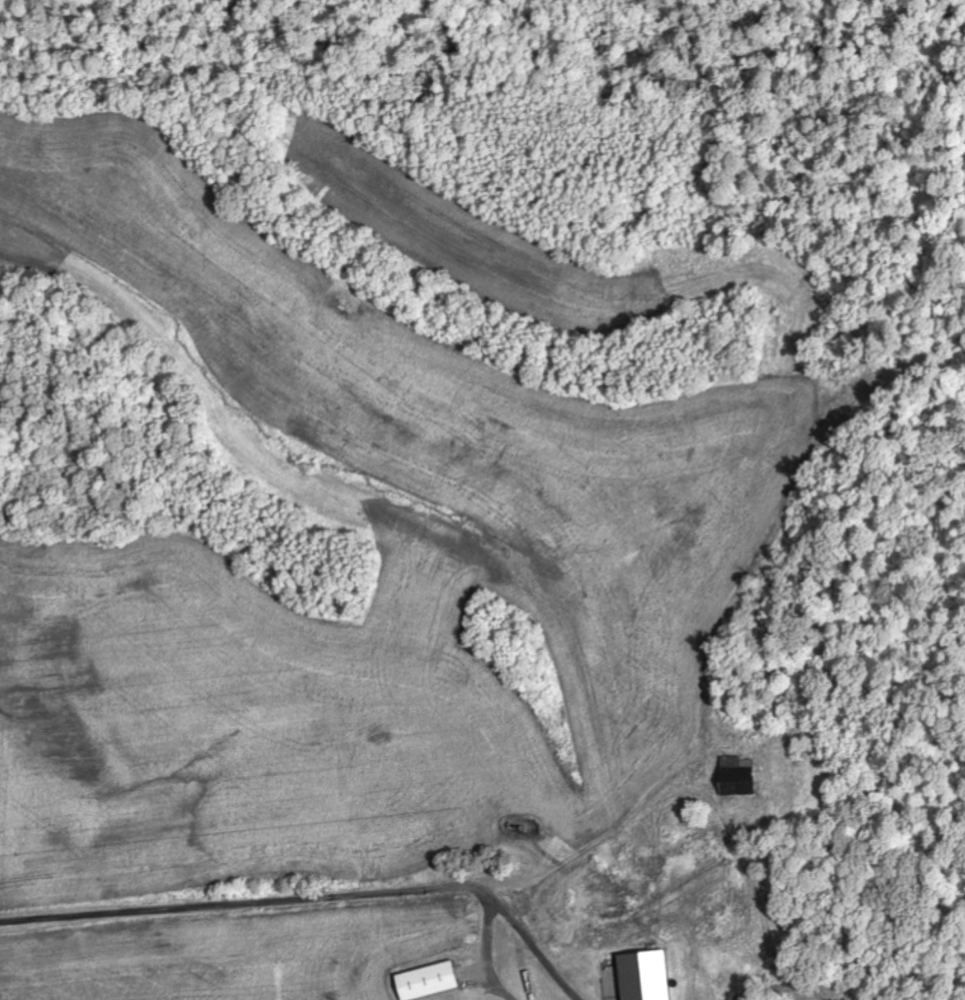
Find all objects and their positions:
building: (741, 772)
road: (266, 901)
building: (653, 976)
building: (436, 981)

